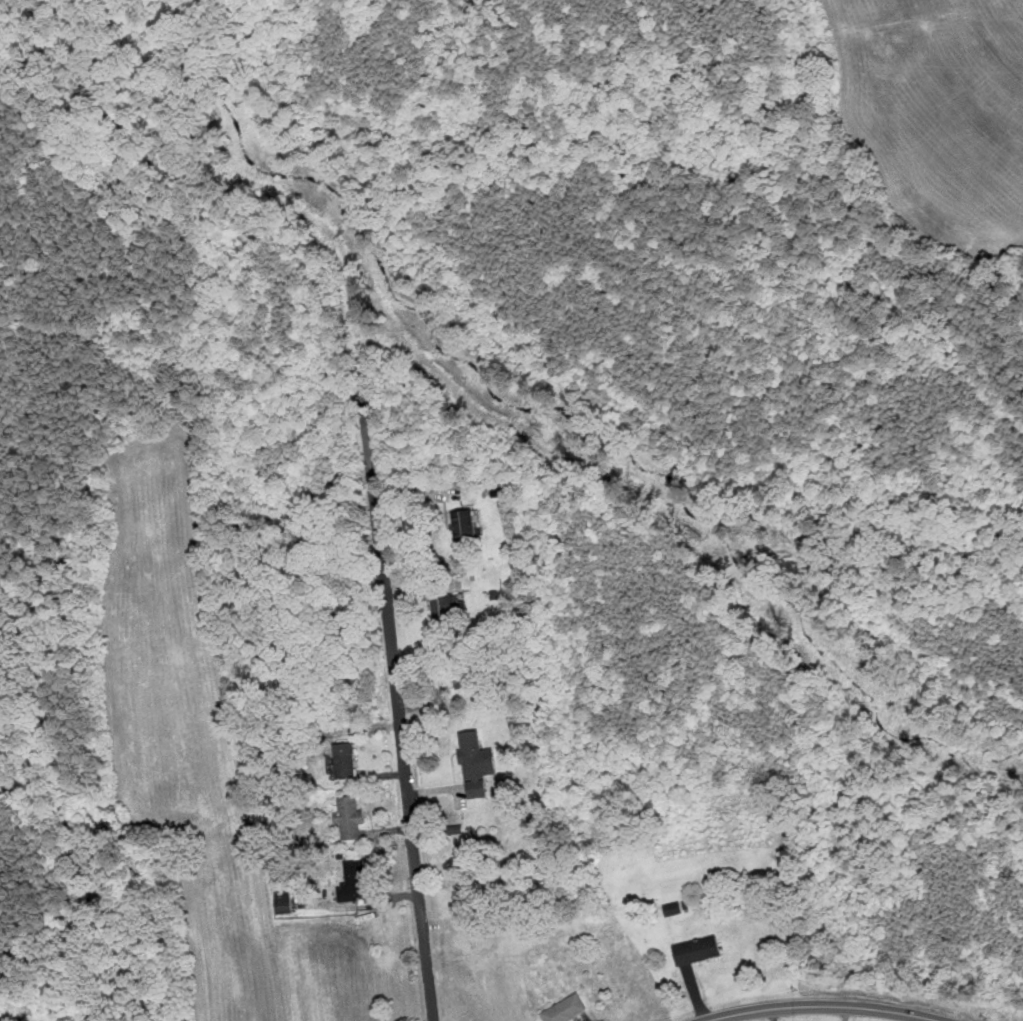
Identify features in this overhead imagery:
building: (464, 525)
building: (445, 604)
building: (461, 683)
road: (398, 704)
building: (345, 759)
building: (476, 762)
building: (350, 816)
building: (354, 880)
building: (283, 904)
building: (673, 909)
building: (697, 949)
road: (825, 1006)
building: (566, 1008)

